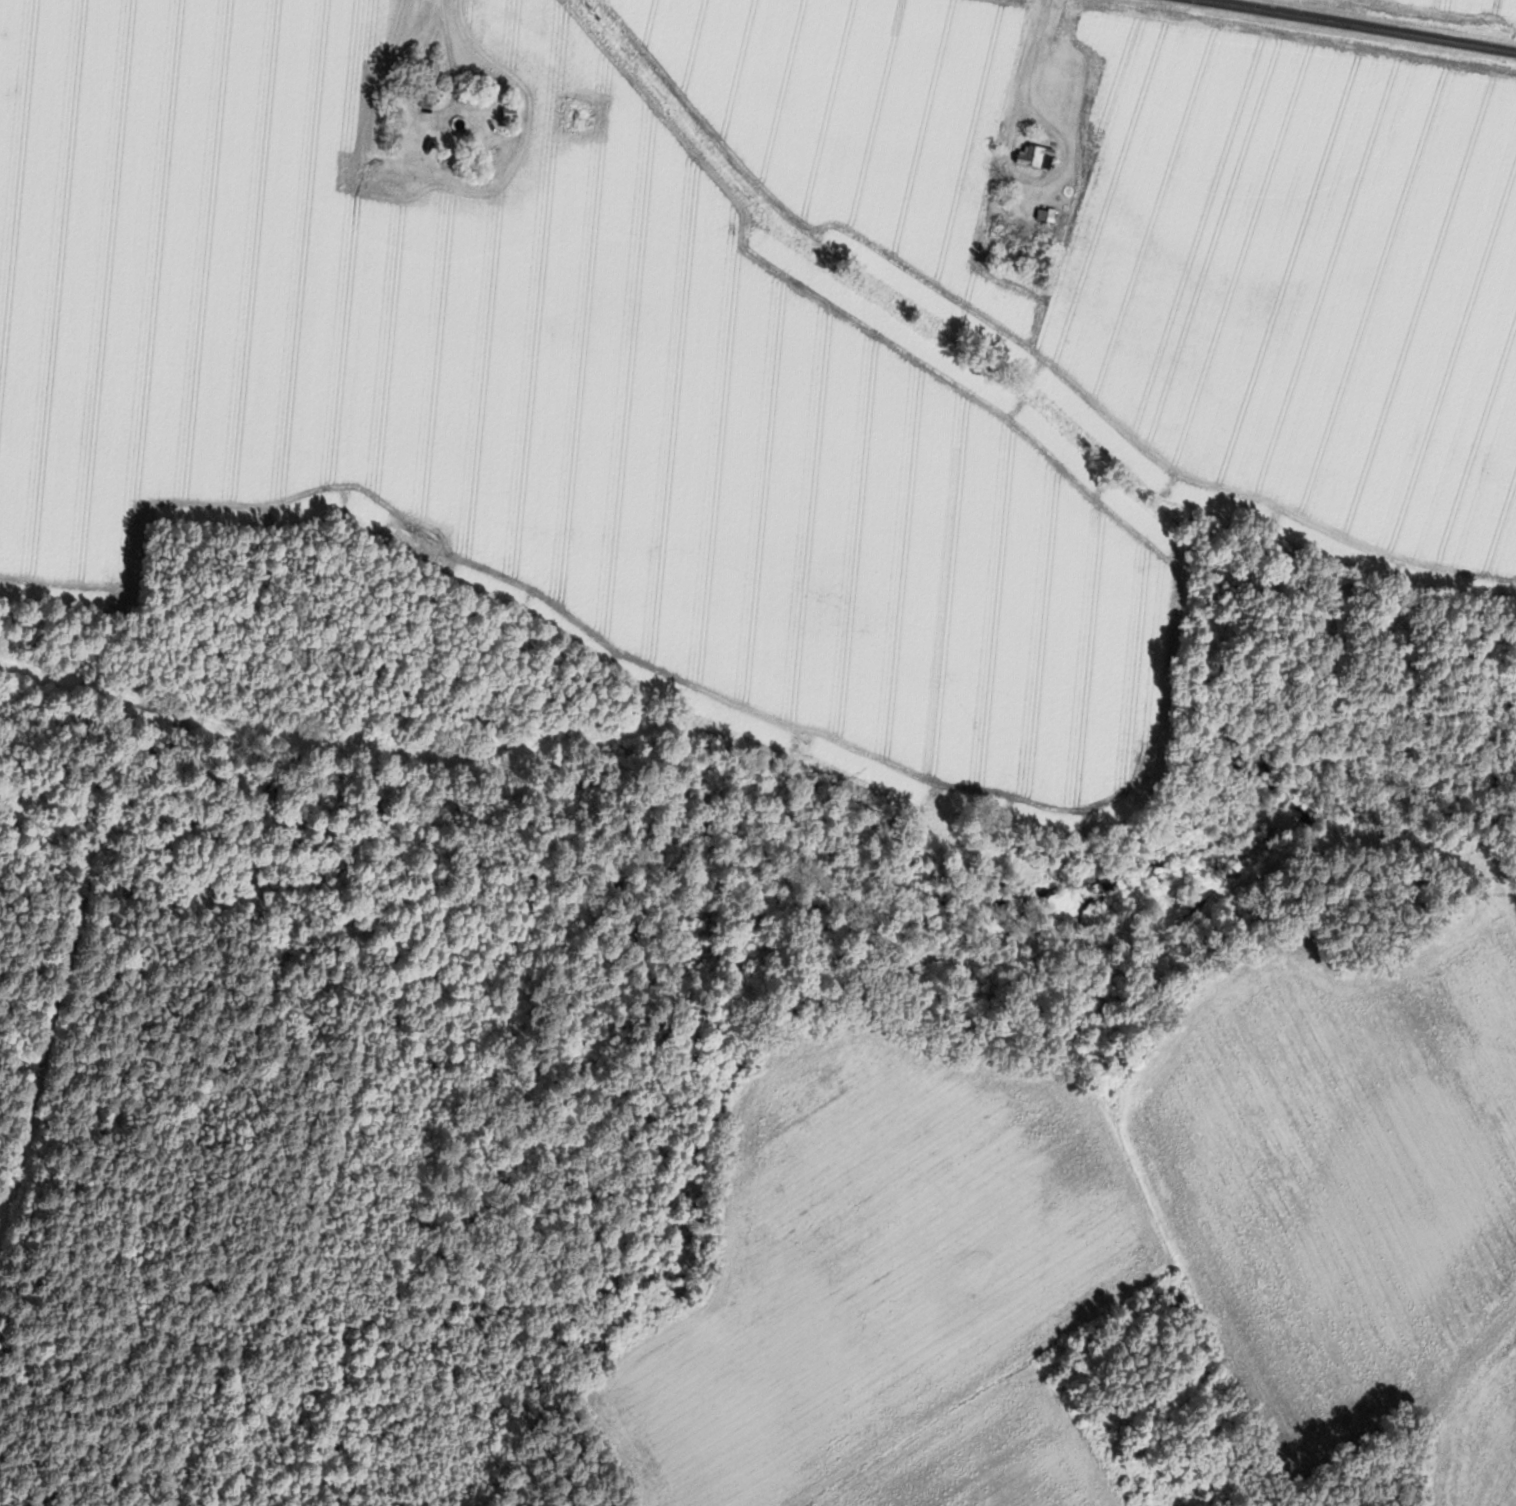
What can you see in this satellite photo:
road: (1367, 25)
building: (433, 84)
building: (588, 116)
building: (513, 117)
building: (1039, 156)
road: (172, 1463)

